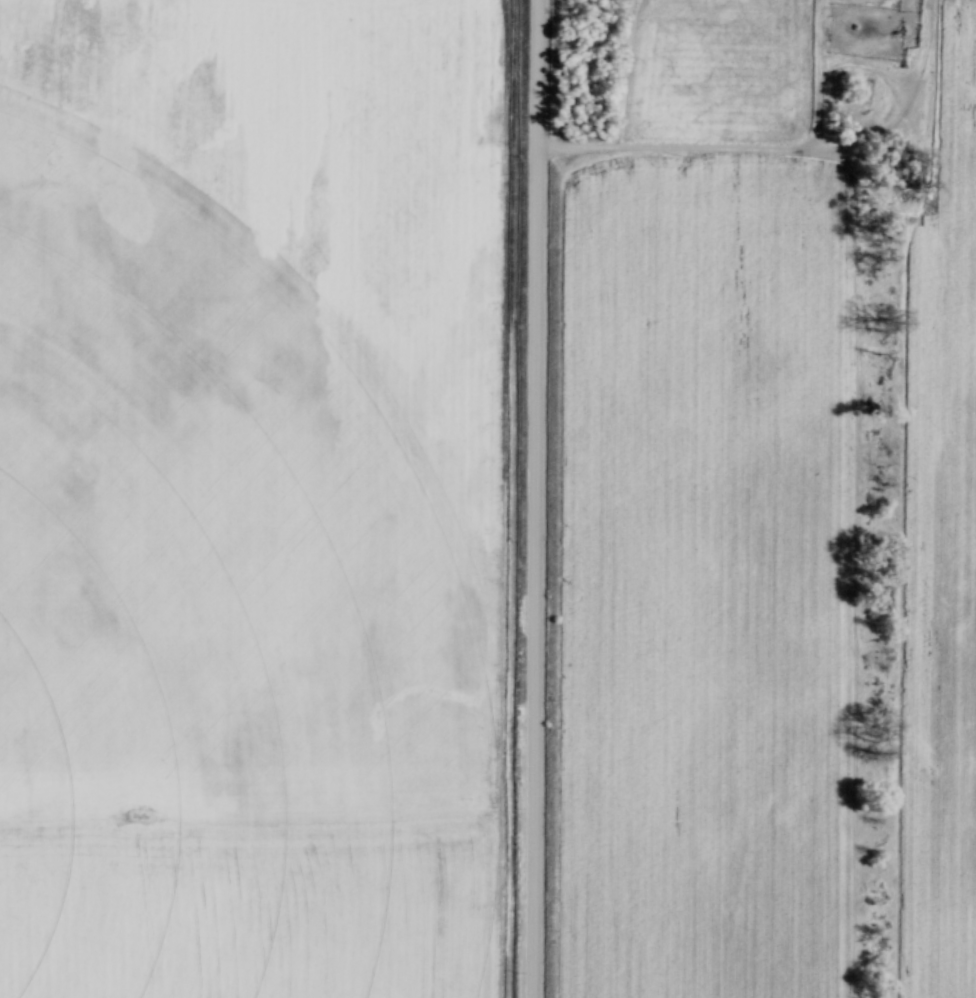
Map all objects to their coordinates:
road: (710, 149)
road: (535, 498)

